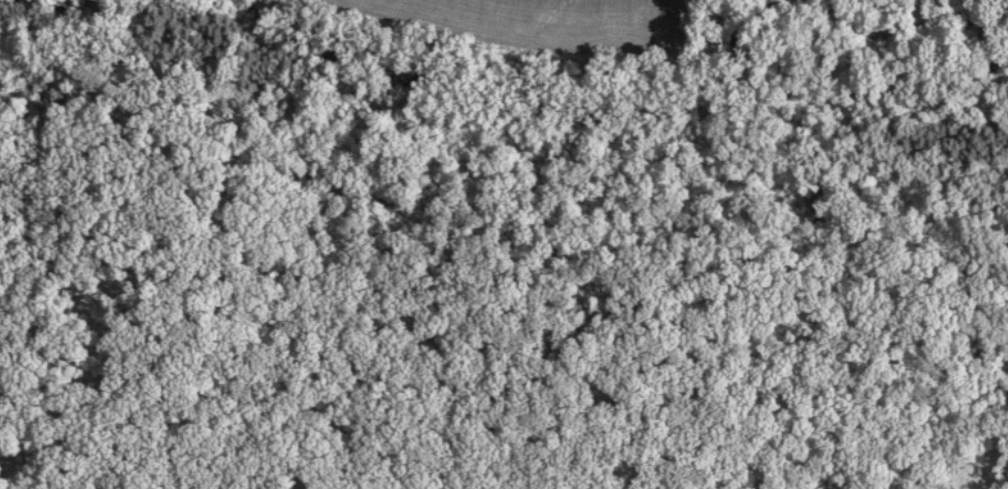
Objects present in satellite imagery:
crop: (547, 29)

